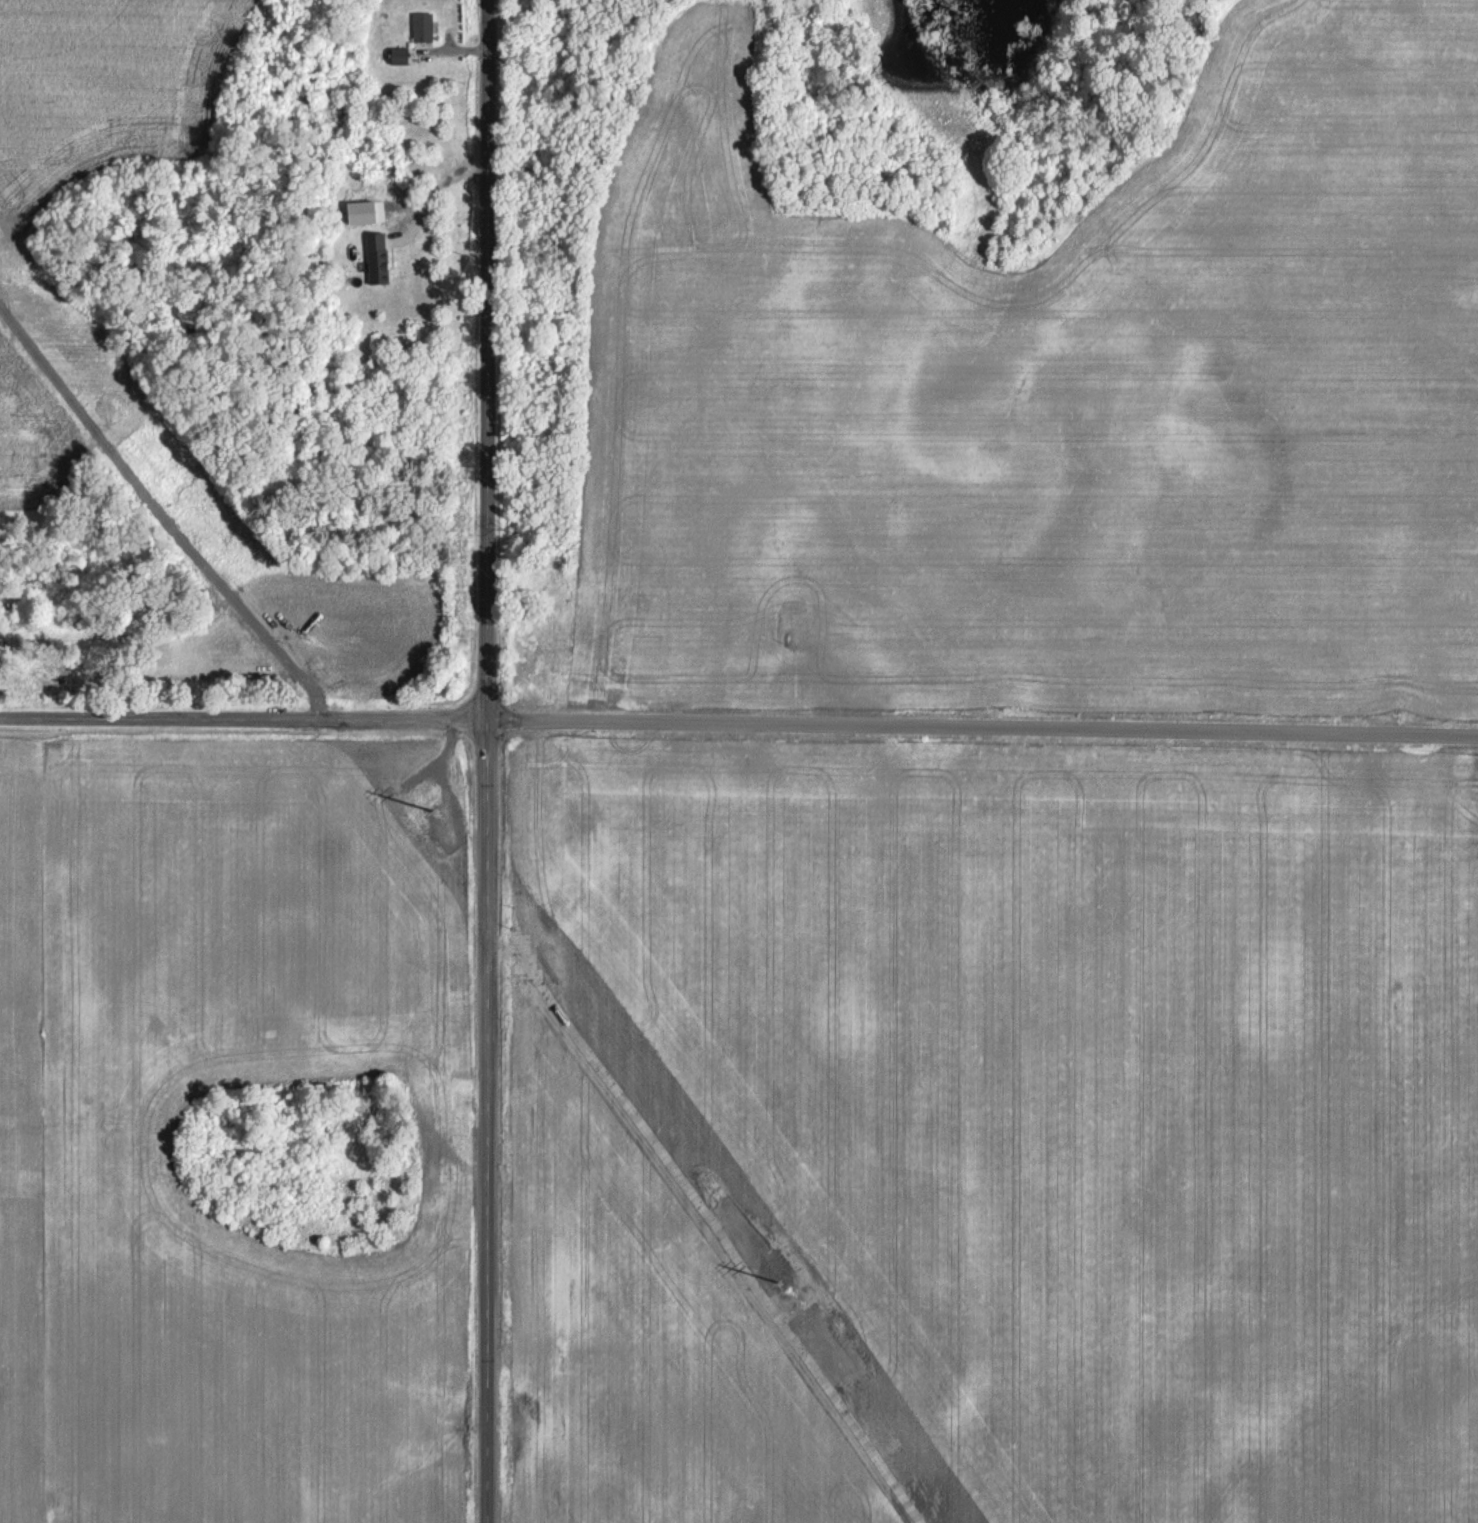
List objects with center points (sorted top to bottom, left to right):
building: (421, 25)
road: (436, 191)
building: (375, 257)
road: (739, 719)
road: (488, 761)
power tower: (424, 788)

